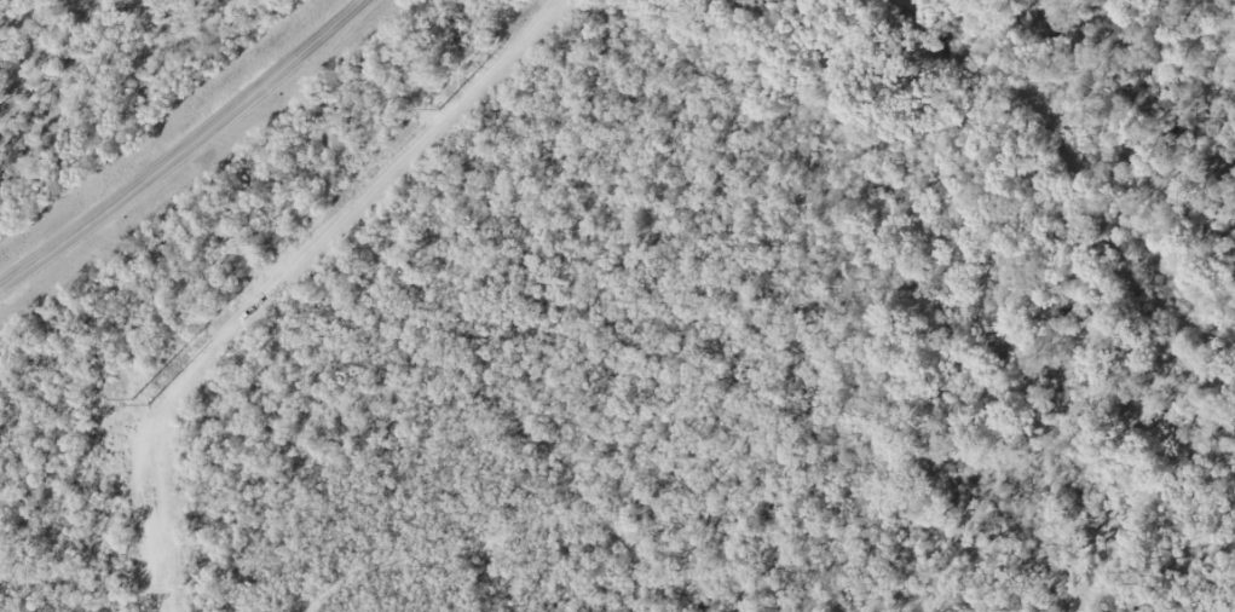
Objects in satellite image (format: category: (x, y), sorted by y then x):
power tower: (437, 109)
road: (185, 149)
river: (1066, 164)
power tower: (142, 400)
road: (501, 560)

